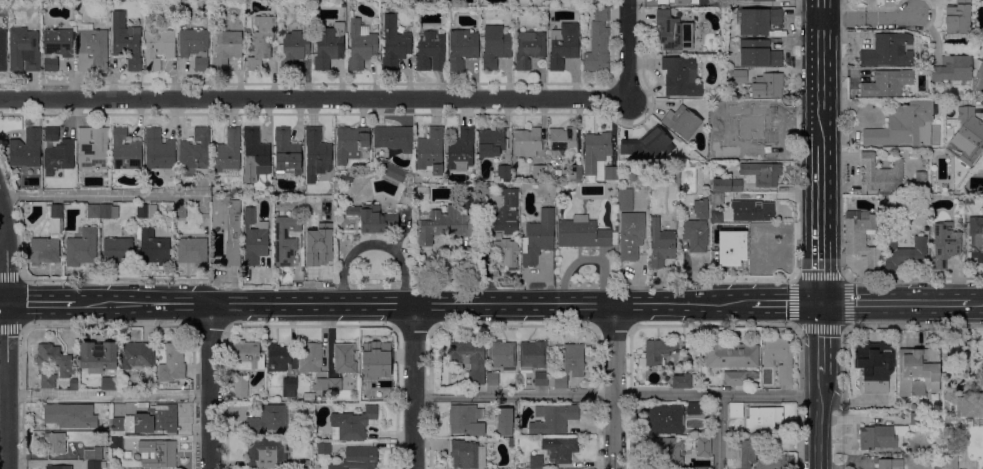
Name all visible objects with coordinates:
building: (763, 0)
building: (349, 1)
building: (677, 1)
building: (344, 6)
road: (869, 19)
building: (958, 19)
building: (757, 20)
building: (247, 31)
building: (674, 31)
building: (126, 41)
building: (263, 41)
building: (394, 43)
building: (598, 43)
building: (329, 44)
building: (361, 45)
building: (563, 45)
building: (57, 47)
building: (195, 47)
building: (463, 47)
road: (627, 47)
building: (159, 48)
building: (496, 48)
building: (530, 48)
building: (92, 49)
building: (227, 49)
building: (294, 49)
building: (24, 50)
building: (3, 51)
building: (431, 51)
building: (888, 51)
building: (759, 54)
building: (953, 71)
road: (821, 72)
building: (737, 76)
building: (980, 76)
building: (681, 77)
building: (887, 83)
building: (768, 86)
road: (311, 99)
building: (682, 122)
building: (903, 125)
building: (772, 128)
building: (52, 134)
building: (968, 134)
building: (394, 138)
building: (563, 141)
building: (491, 142)
building: (528, 142)
building: (352, 143)
building: (647, 143)
building: (93, 148)
building: (27, 149)
building: (461, 150)
building: (126, 151)
building: (195, 151)
building: (256, 151)
building: (431, 151)
building: (596, 151)
building: (160, 152)
building: (287, 152)
building: (317, 153)
building: (228, 154)
building: (729, 155)
building: (59, 157)
building: (539, 172)
building: (575, 172)
building: (610, 173)
building: (762, 173)
building: (392, 174)
building: (503, 174)
building: (882, 176)
building: (632, 177)
building: (347, 179)
building: (920, 183)
building: (726, 185)
building: (421, 194)
road: (98, 195)
building: (468, 199)
building: (848, 199)
building: (969, 199)
building: (626, 200)
building: (502, 207)
building: (716, 208)
building: (701, 209)
building: (982, 209)
building: (93, 211)
building: (109, 211)
building: (180, 211)
building: (752, 211)
building: (147, 212)
building: (373, 219)
road: (821, 224)
building: (443, 225)
building: (229, 226)
building: (724, 232)
building: (753, 233)
building: (317, 234)
building: (584, 234)
building: (631, 235)
building: (695, 235)
building: (498, 236)
building: (538, 237)
building: (862, 237)
building: (48, 238)
building: (255, 238)
building: (976, 238)
building: (286, 240)
building: (661, 244)
building: (945, 245)
building: (82, 248)
building: (154, 248)
building: (118, 251)
building: (192, 251)
building: (507, 252)
building: (905, 254)
building: (762, 261)
road: (3, 265)
building: (738, 266)
road: (844, 276)
road: (3, 303)
road: (41, 303)
road: (413, 304)
road: (785, 304)
traffic signals: (821, 304)
road: (887, 304)
road: (968, 304)
road: (108, 327)
road: (821, 336)
road: (6, 338)
building: (658, 352)
building: (728, 354)
building: (137, 355)
building: (502, 355)
building: (98, 356)
building: (248, 356)
building: (532, 356)
building: (281, 358)
building: (311, 358)
building: (345, 358)
building: (779, 358)
building: (55, 359)
building: (470, 359)
building: (686, 359)
building: (172, 363)
building: (874, 365)
building: (376, 366)
building: (569, 366)
building: (918, 371)
road: (3, 373)
building: (492, 378)
building: (541, 378)
building: (735, 379)
building: (48, 381)
building: (682, 381)
building: (110, 383)
building: (321, 384)
building: (334, 384)
building: (73, 385)
road: (209, 386)
road: (413, 386)
building: (241, 387)
building: (289, 387)
road: (614, 387)
road: (616, 395)
road: (107, 396)
building: (383, 396)
building: (306, 397)
building: (318, 399)
building: (967, 403)
building: (913, 407)
building: (694, 409)
building: (736, 411)
building: (71, 416)
building: (927, 417)
building: (554, 418)
road: (819, 418)
building: (916, 418)
building: (157, 419)
building: (271, 419)
building: (665, 419)
building: (763, 419)
building: (466, 420)
building: (504, 422)
building: (352, 425)
building: (117, 427)
road: (718, 432)
building: (687, 433)
building: (882, 437)
building: (309, 440)
building: (512, 441)
building: (56, 442)
building: (116, 443)
building: (704, 447)
building: (324, 448)
building: (748, 448)
building: (560, 449)
building: (733, 449)
building: (668, 450)
building: (94, 453)
building: (268, 453)
building: (159, 454)
building: (464, 454)
building: (107, 457)
building: (358, 459)
building: (950, 459)
building: (536, 462)
building: (304, 464)
building: (890, 464)
building: (94, 465)
building: (58, 467)
building: (938, 468)

